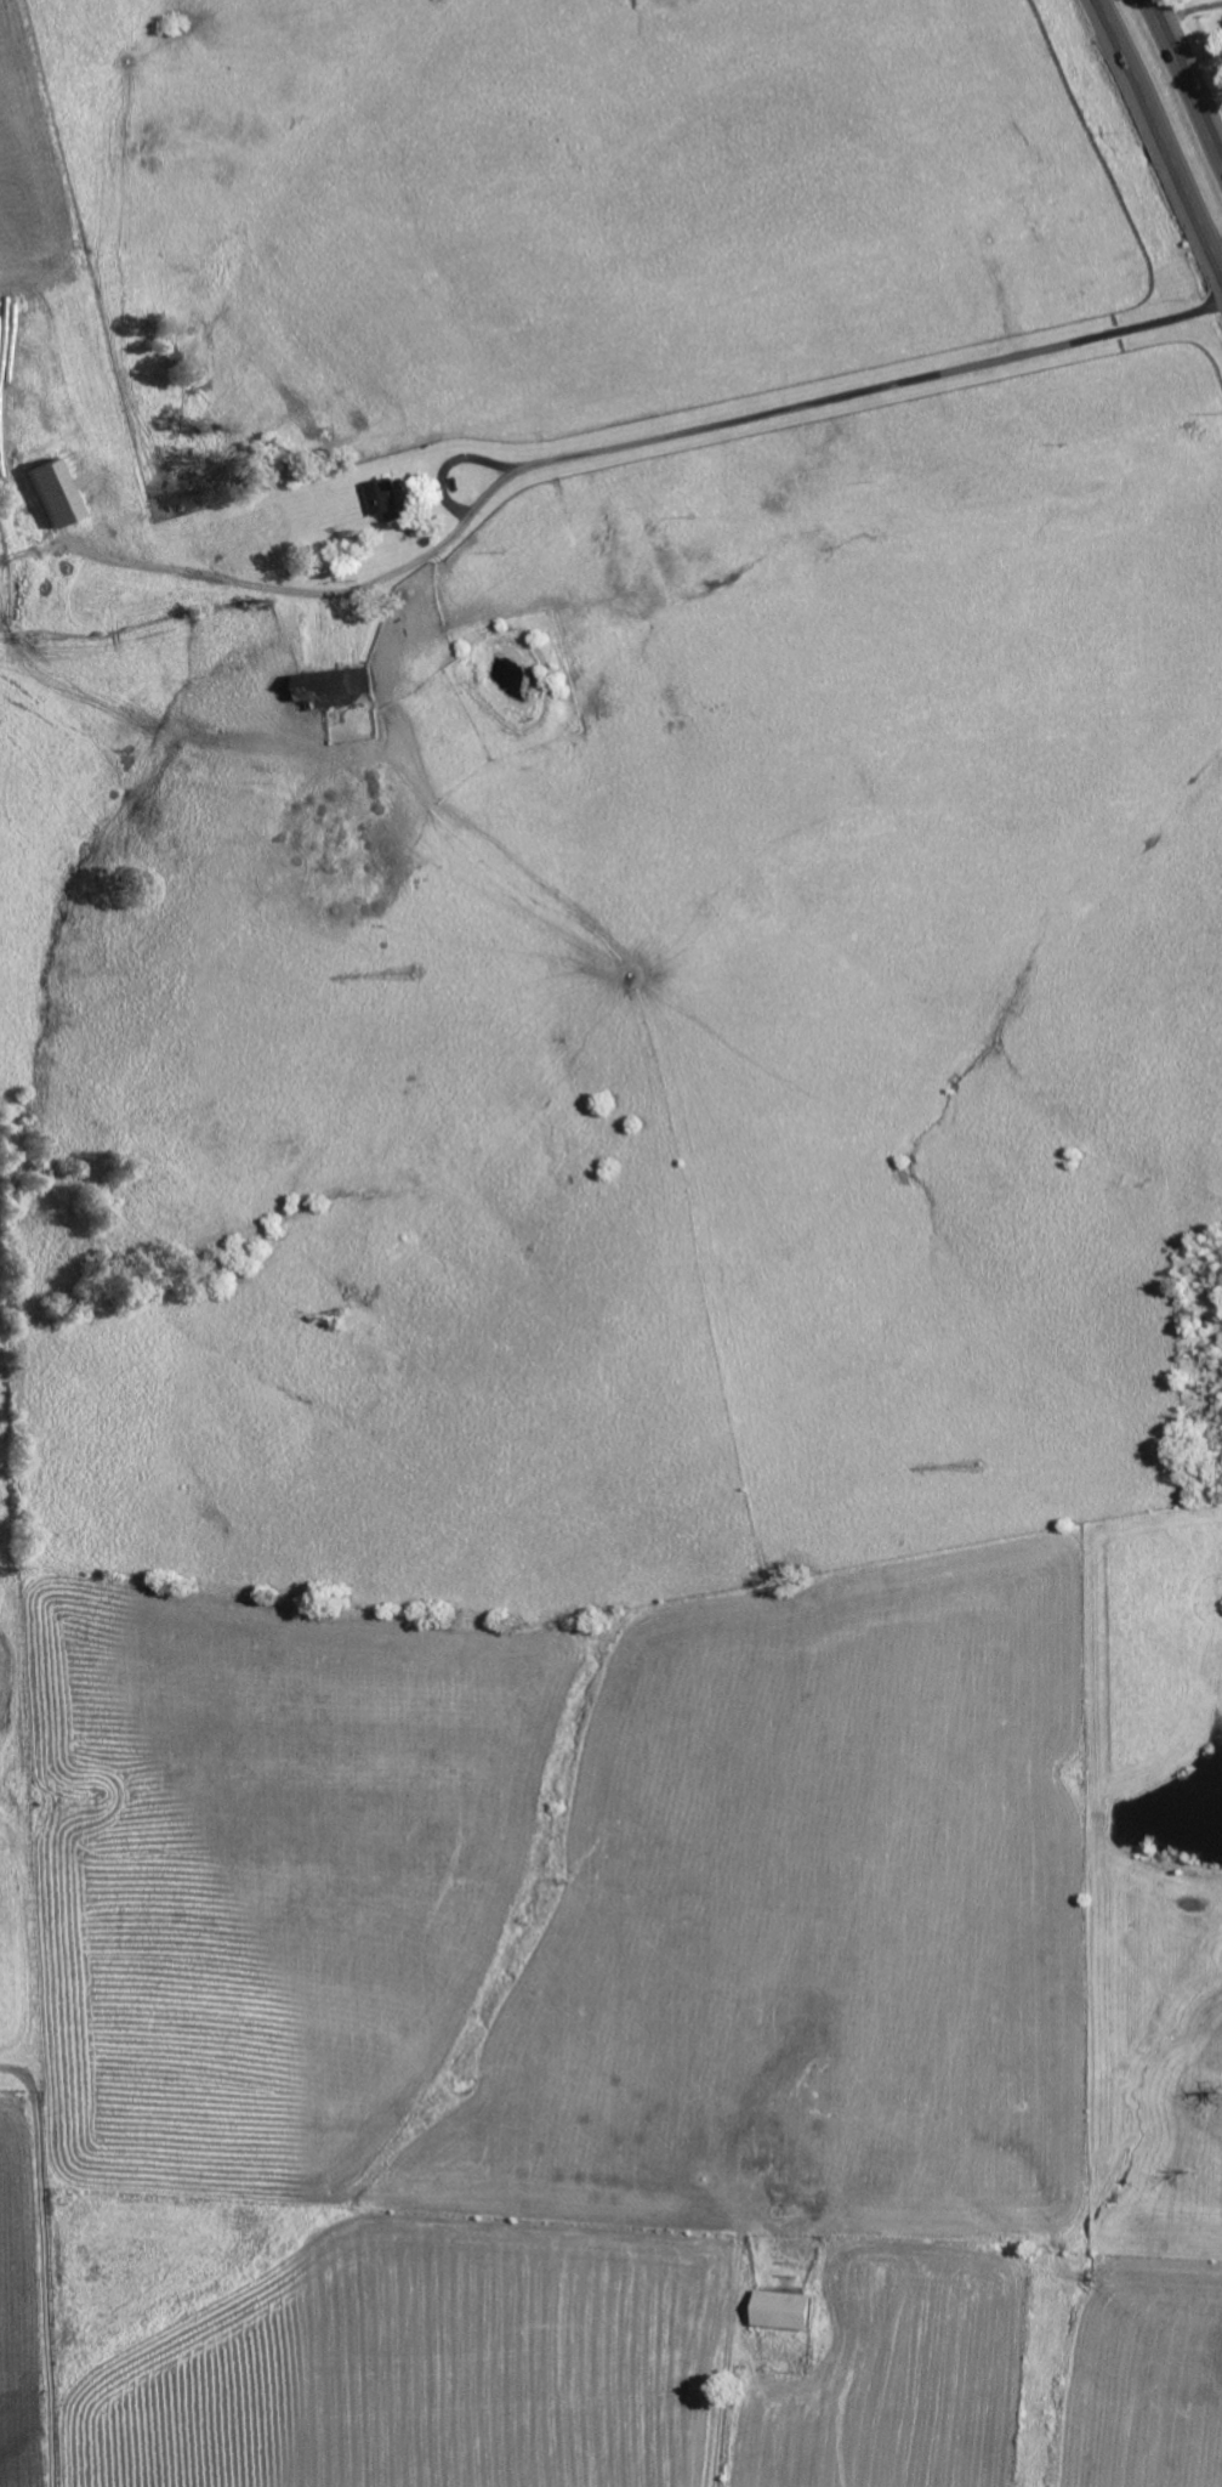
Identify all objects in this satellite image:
road: (1187, 74)
road: (1164, 134)
road: (842, 400)
building: (57, 493)
building: (388, 500)
road: (290, 585)
building: (337, 690)
road: (19, 2074)
road: (46, 2288)
building: (788, 2312)
road: (724, 2387)

